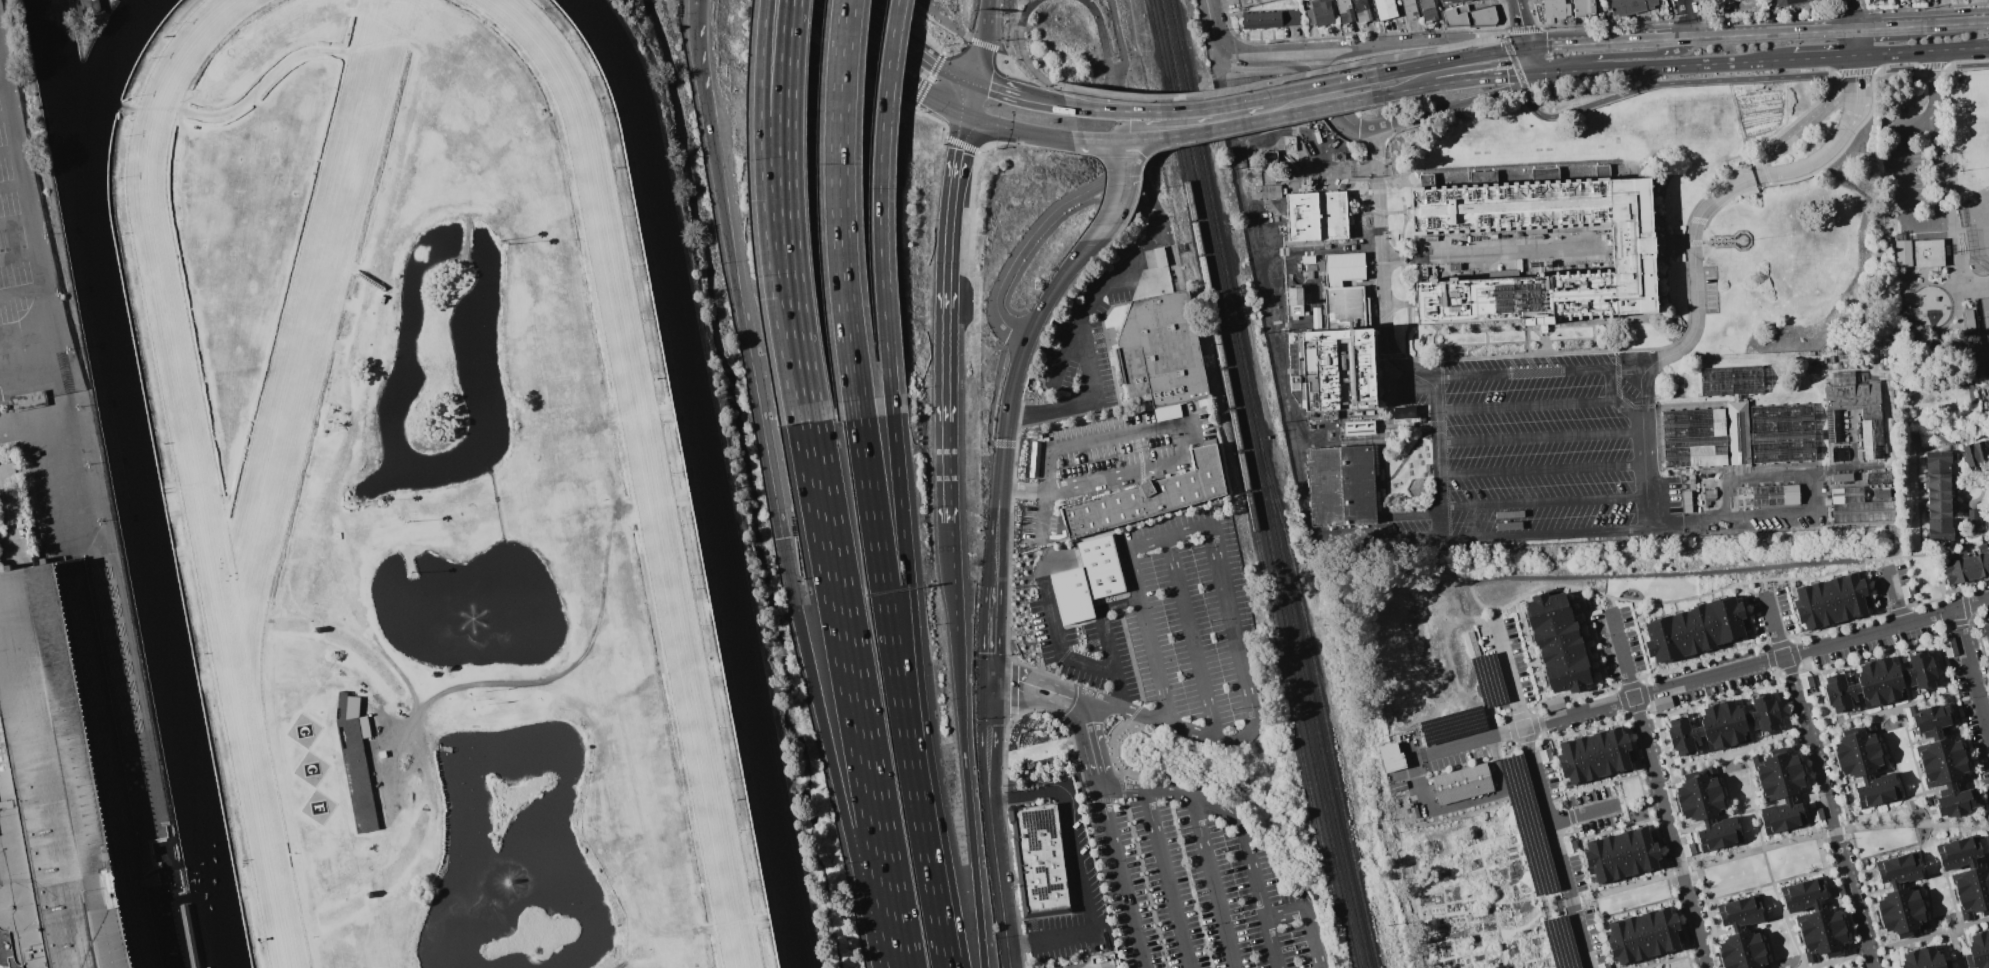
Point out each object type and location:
building: (1444, 0)
building: (1877, 0)
building: (1259, 1)
building: (1459, 1)
building: (1408, 2)
building: (1791, 2)
building: (1245, 3)
building: (1631, 6)
building: (1584, 8)
building: (1385, 9)
road: (916, 10)
building: (1429, 10)
building: (1556, 10)
building: (1361, 11)
building: (1345, 12)
building: (1411, 12)
building: (1320, 13)
road: (1852, 14)
building: (1469, 17)
road: (986, 18)
building: (1291, 18)
road: (1686, 18)
building: (1263, 19)
building: (1276, 19)
building: (1249, 20)
road: (1212, 23)
road: (1522, 23)
road: (1958, 23)
road: (1891, 28)
road: (891, 32)
road: (1498, 34)
road: (1771, 34)
road: (1119, 39)
road: (1648, 39)
road: (977, 41)
road: (1104, 41)
road: (848, 43)
road: (1388, 43)
road: (1855, 43)
road: (1568, 44)
road: (1025, 45)
traffic signals: (1528, 47)
road: (1437, 48)
road: (1518, 48)
road: (1922, 51)
road: (1265, 55)
road: (1626, 55)
road: (761, 57)
road: (1531, 58)
road: (1825, 58)
road: (977, 59)
road: (1442, 61)
road: (1732, 64)
road: (1857, 64)
road: (1962, 67)
road: (1614, 68)
road: (1546, 69)
road: (1526, 70)
traffic signals: (1534, 70)
road: (1475, 74)
road: (953, 75)
building: (1955, 80)
road: (3, 81)
road: (1690, 82)
traffic signals: (972, 83)
road: (1318, 86)
road: (1937, 86)
road: (1407, 89)
road: (1213, 93)
road: (894, 96)
road: (1017, 98)
road: (968, 99)
road: (934, 102)
road: (783, 103)
road: (1457, 103)
road: (1216, 106)
road: (1334, 106)
road: (1118, 111)
road: (6, 114)
traffic signals: (964, 115)
road: (1143, 120)
road: (1252, 121)
road: (1122, 126)
road: (1806, 126)
road: (1016, 129)
building: (1317, 134)
road: (1097, 138)
building: (1290, 144)
road: (9, 150)
road: (1832, 150)
road: (786, 151)
road: (1376, 151)
park: (1972, 155)
building: (1269, 157)
road: (1124, 162)
road: (23, 169)
road: (814, 172)
parking lot: (1926, 173)
building: (1282, 177)
road: (13, 186)
road: (952, 186)
railway: (1207, 191)
building: (1268, 191)
road: (879, 206)
road: (838, 209)
road: (766, 210)
road: (1111, 214)
building: (1317, 216)
road: (16, 219)
road: (1153, 219)
road: (1911, 223)
building: (1358, 226)
park: (1978, 226)
parking lot: (14, 230)
building: (1276, 230)
park: (1939, 235)
road: (1029, 237)
building: (1929, 252)
building: (1634, 253)
building: (1903, 253)
road: (1483, 254)
road: (20, 256)
building: (1159, 256)
building: (1273, 262)
building: (1471, 265)
building: (1455, 267)
road: (734, 268)
road: (1955, 272)
road: (1055, 284)
building: (1314, 288)
road: (1382, 290)
road: (23, 291)
building: (1344, 291)
road: (1697, 292)
road: (1097, 297)
building: (1296, 301)
building: (1313, 315)
building: (1970, 320)
road: (1960, 325)
park: (1983, 328)
road: (48, 332)
building: (1162, 354)
road: (797, 362)
building: (1337, 374)
road: (1522, 374)
road: (1608, 385)
road: (1010, 388)
road: (944, 390)
building: (29, 400)
road: (1085, 401)
track: (204, 405)
building: (9, 406)
road: (1524, 406)
road: (1626, 410)
building: (1405, 412)
building: (1422, 418)
building: (1738, 426)
building: (1872, 426)
building: (1359, 428)
road: (1541, 436)
road: (1176, 443)
road: (1076, 444)
road: (1645, 448)
parking lot: (1535, 450)
building: (1840, 453)
building: (34, 454)
building: (1975, 454)
building: (1035, 460)
road: (1440, 460)
building: (1939, 461)
road: (1543, 468)
track: (674, 471)
road: (1000, 471)
building: (1843, 477)
building: (1880, 478)
road: (1090, 484)
railway: (1246, 484)
railway: (1256, 484)
building: (1941, 484)
building: (1342, 486)
building: (1711, 494)
building: (1882, 494)
building: (1776, 495)
building: (1149, 497)
road: (1544, 501)
building: (1686, 504)
building: (1942, 506)
building: (1859, 507)
road: (1808, 512)
building: (1973, 520)
building: (1353, 529)
road: (1383, 529)
building: (1941, 529)
road: (1175, 535)
road: (1546, 535)
road: (996, 542)
building: (38, 545)
building: (1980, 561)
building: (1959, 569)
road: (951, 575)
building: (1087, 579)
road: (1941, 583)
road: (1765, 587)
road: (1917, 587)
road: (1722, 589)
building: (1908, 591)
building: (1857, 594)
road: (1897, 597)
road: (1871, 598)
building: (1840, 599)
building: (1824, 602)
road: (1614, 604)
building: (1806, 607)
building: (1548, 610)
building: (1163, 614)
fountain: (473, 616)
road: (1499, 616)
building: (1728, 621)
parking lot: (1164, 622)
road: (1775, 626)
building: (317, 629)
building: (1695, 630)
building: (1986, 633)
road: (991, 635)
road: (1104, 637)
road: (1193, 640)
building: (1664, 640)
building: (1558, 642)
building: (1475, 644)
road: (1060, 645)
building: (1469, 645)
building: (1950, 648)
building: (1988, 648)
road: (912, 651)
road: (1067, 652)
road: (893, 654)
road: (1130, 654)
road: (1624, 654)
building: (1218, 657)
building: (1988, 658)
road: (1756, 663)
road: (1973, 666)
building: (1920, 672)
road: (1511, 674)
building: (1568, 674)
railway: (1304, 676)
building: (1891, 679)
building: (1807, 682)
road: (1019, 684)
traffic signals: (989, 685)
building: (1871, 685)
building: (1841, 693)
road: (855, 695)
road: (1064, 696)
railway: (1320, 702)
building: (1663, 703)
building: (1555, 704)
road: (1122, 707)
building: (406, 709)
road: (1134, 712)
building: (1763, 714)
road: (988, 718)
building: (1931, 720)
building: (1734, 723)
building: (1714, 728)
building: (1684, 736)
road: (1213, 740)
road: (1472, 741)
building: (1856, 742)
road: (1090, 745)
road: (1112, 746)
building: (1620, 749)
building: (1940, 752)
road: (828, 753)
building: (1602, 753)
building: (1546, 755)
building: (1392, 758)
building: (1586, 758)
building: (356, 761)
building: (1570, 763)
building: (1862, 763)
building: (1775, 764)
building: (1945, 772)
building: (1463, 784)
road: (1121, 785)
building: (1781, 786)
building: (64, 787)
building: (1696, 787)
building: (1877, 790)
road: (1123, 794)
road: (1179, 795)
road: (967, 798)
road: (1108, 800)
building: (1954, 801)
road: (1119, 803)
road: (1464, 803)
building: (1702, 807)
road: (1830, 812)
road: (1585, 813)
building: (1817, 815)
building: (1782, 817)
road: (1671, 832)
building: (1720, 834)
road: (1559, 847)
building: (1570, 847)
road: (1768, 847)
building: (1647, 848)
building: (1689, 849)
building: (1630, 853)
building: (1959, 853)
building: (1614, 857)
road: (996, 859)
building: (1039, 860)
building: (1597, 862)
road: (1076, 865)
building: (1899, 869)
road: (1124, 879)
road: (1168, 880)
building: (1970, 880)
fountain: (505, 881)
road: (1145, 883)
road: (1214, 883)
parking lot: (1197, 891)
building: (1838, 891)
building: (370, 894)
building: (1803, 895)
road: (1261, 899)
building: (1900, 900)
building: (1974, 903)
building: (1741, 912)
road: (1307, 917)
building: (1819, 921)
building: (1906, 922)
road: (943, 928)
building: (1669, 929)
building: (1524, 931)
building: (1652, 933)
building: (1987, 934)
building: (192, 936)
building: (1637, 938)
building: (1620, 943)
building: (1741, 943)
building: (1825, 943)
building: (1092, 948)
building: (1978, 951)
building: (1933, 958)
building: (1911, 959)
building: (1747, 960)
road: (1077, 964)
building: (1604, 965)

